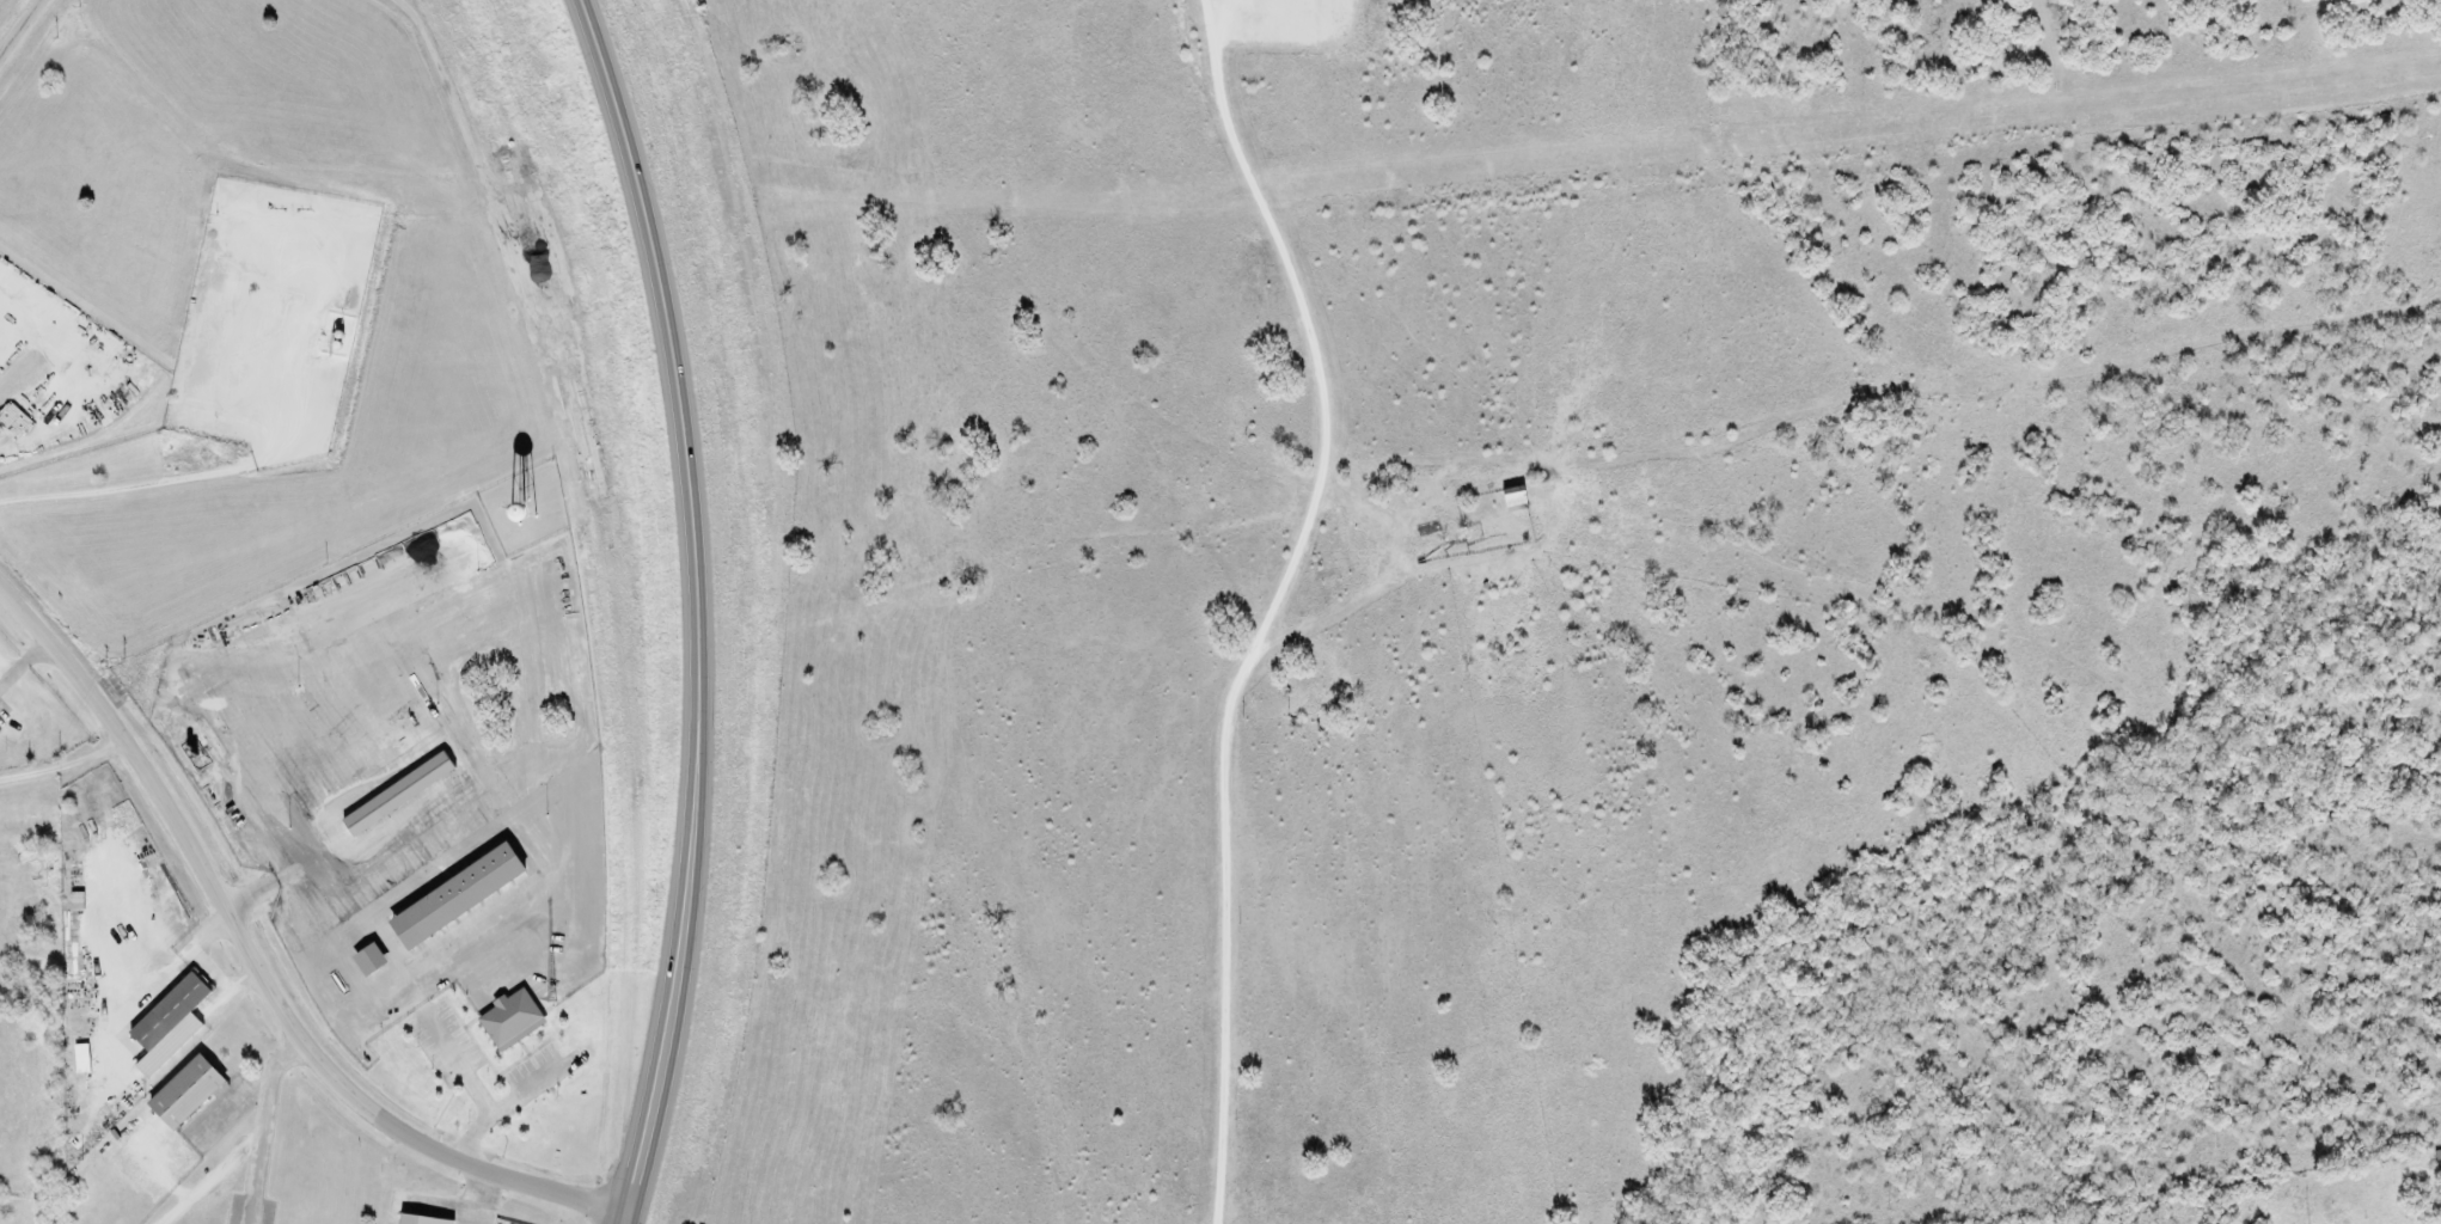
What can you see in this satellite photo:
road: (22, 30)
building: (16, 421)
building: (1518, 500)
road: (1274, 606)
road: (695, 608)
road: (69, 767)
building: (402, 795)
building: (461, 896)
building: (373, 960)
road: (256, 969)
building: (514, 1020)
building: (172, 1024)
building: (190, 1094)
building: (423, 1220)

